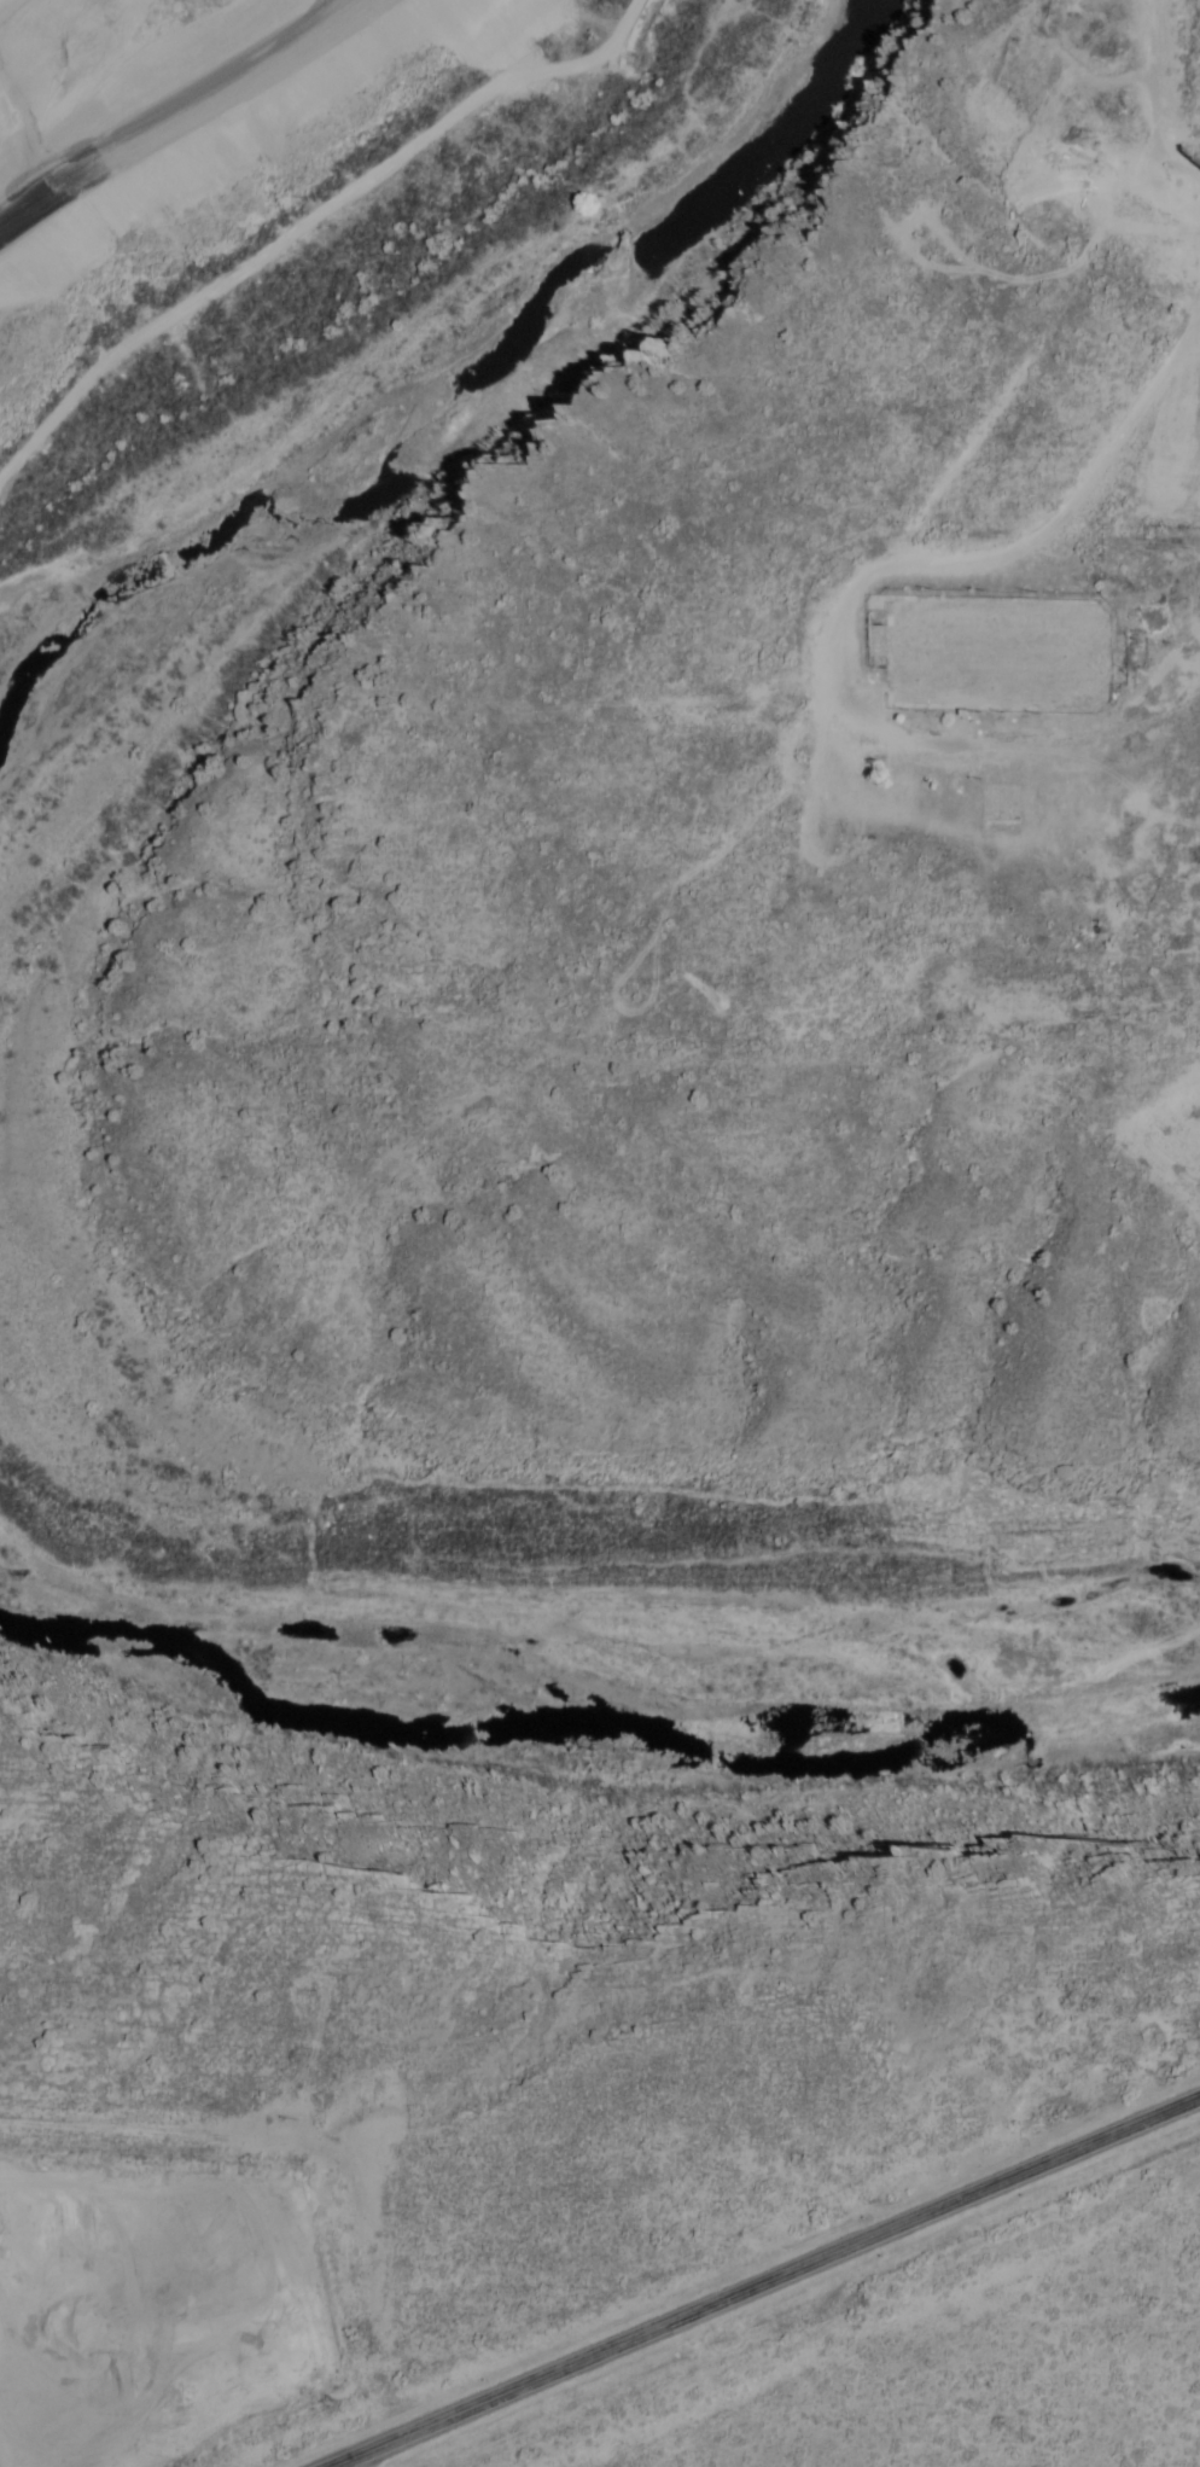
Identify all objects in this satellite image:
road: (182, 121)
river: (458, 384)
river: (582, 1750)
road: (767, 2280)

